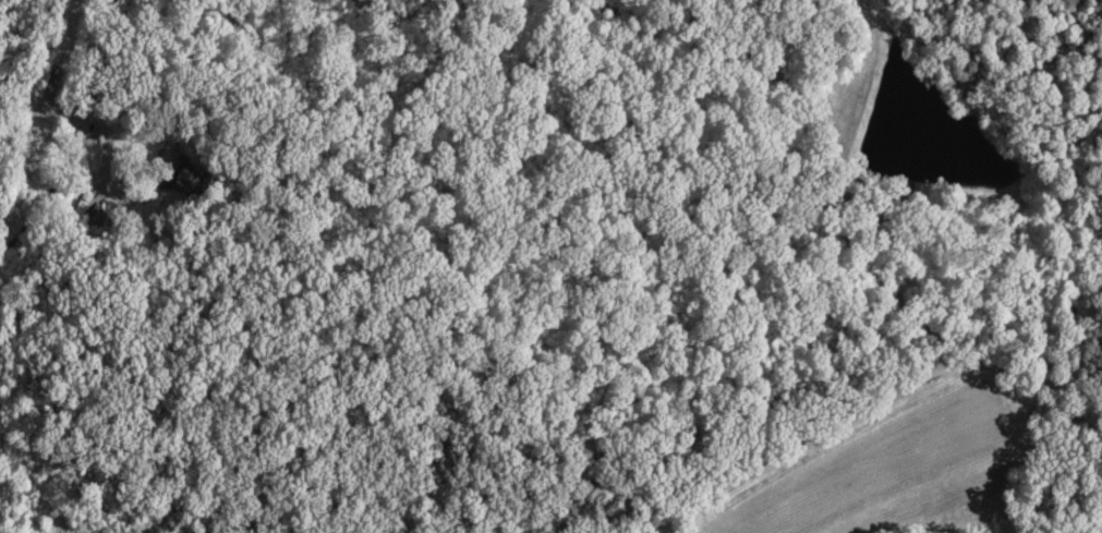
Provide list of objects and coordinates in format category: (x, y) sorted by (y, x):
road: (47, 107)
road: (157, 180)
building: (185, 180)
building: (80, 209)

